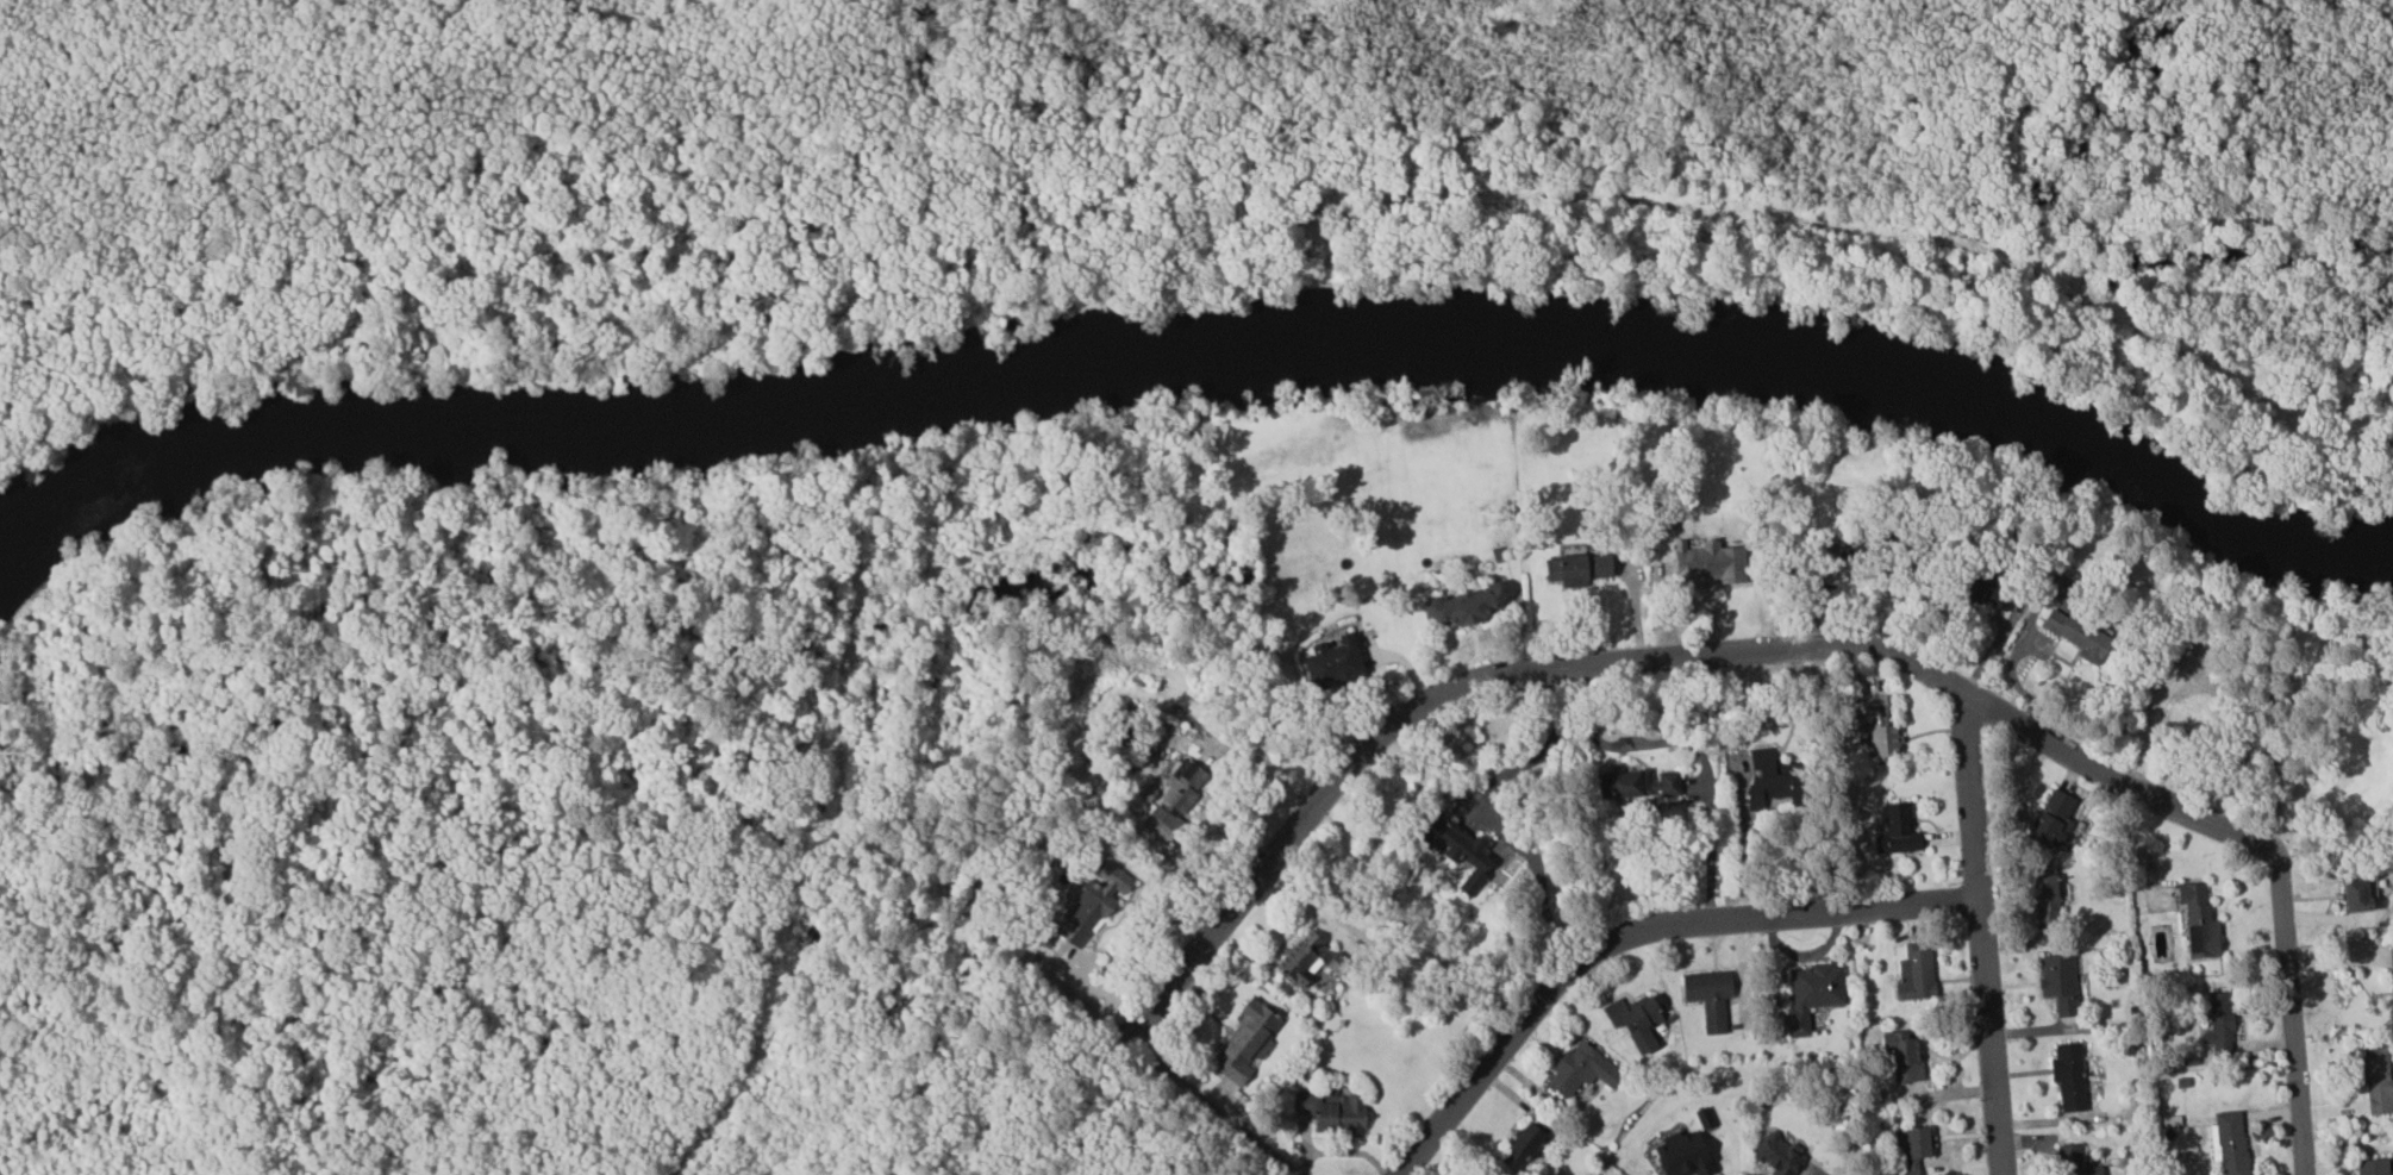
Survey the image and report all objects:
river: (1180, 350)
building: (1845, 546)
building: (1575, 568)
building: (1987, 589)
building: (1462, 604)
building: (2076, 635)
road: (1648, 661)
building: (1331, 662)
building: (2175, 693)
building: (1877, 727)
road: (1254, 776)
building: (1770, 780)
building: (1636, 782)
building: (1174, 800)
building: (2053, 819)
building: (1897, 830)
building: (1454, 849)
road: (1711, 857)
building: (2044, 894)
building: (2358, 894)
building: (1091, 905)
building: (2198, 921)
road: (1980, 931)
road: (1635, 932)
building: (1298, 963)
building: (1916, 973)
building: (2058, 982)
building: (2391, 990)
building: (1811, 994)
building: (1708, 996)
road: (2292, 1015)
building: (1637, 1023)
building: (2219, 1024)
building: (1247, 1040)
building: (1902, 1055)
road: (1154, 1065)
building: (1580, 1070)
building: (2068, 1076)
building: (2378, 1081)
building: (1331, 1111)
building: (2229, 1143)
building: (1522, 1146)
building: (1910, 1149)
building: (1777, 1155)
building: (2074, 1161)
building: (2373, 1167)

